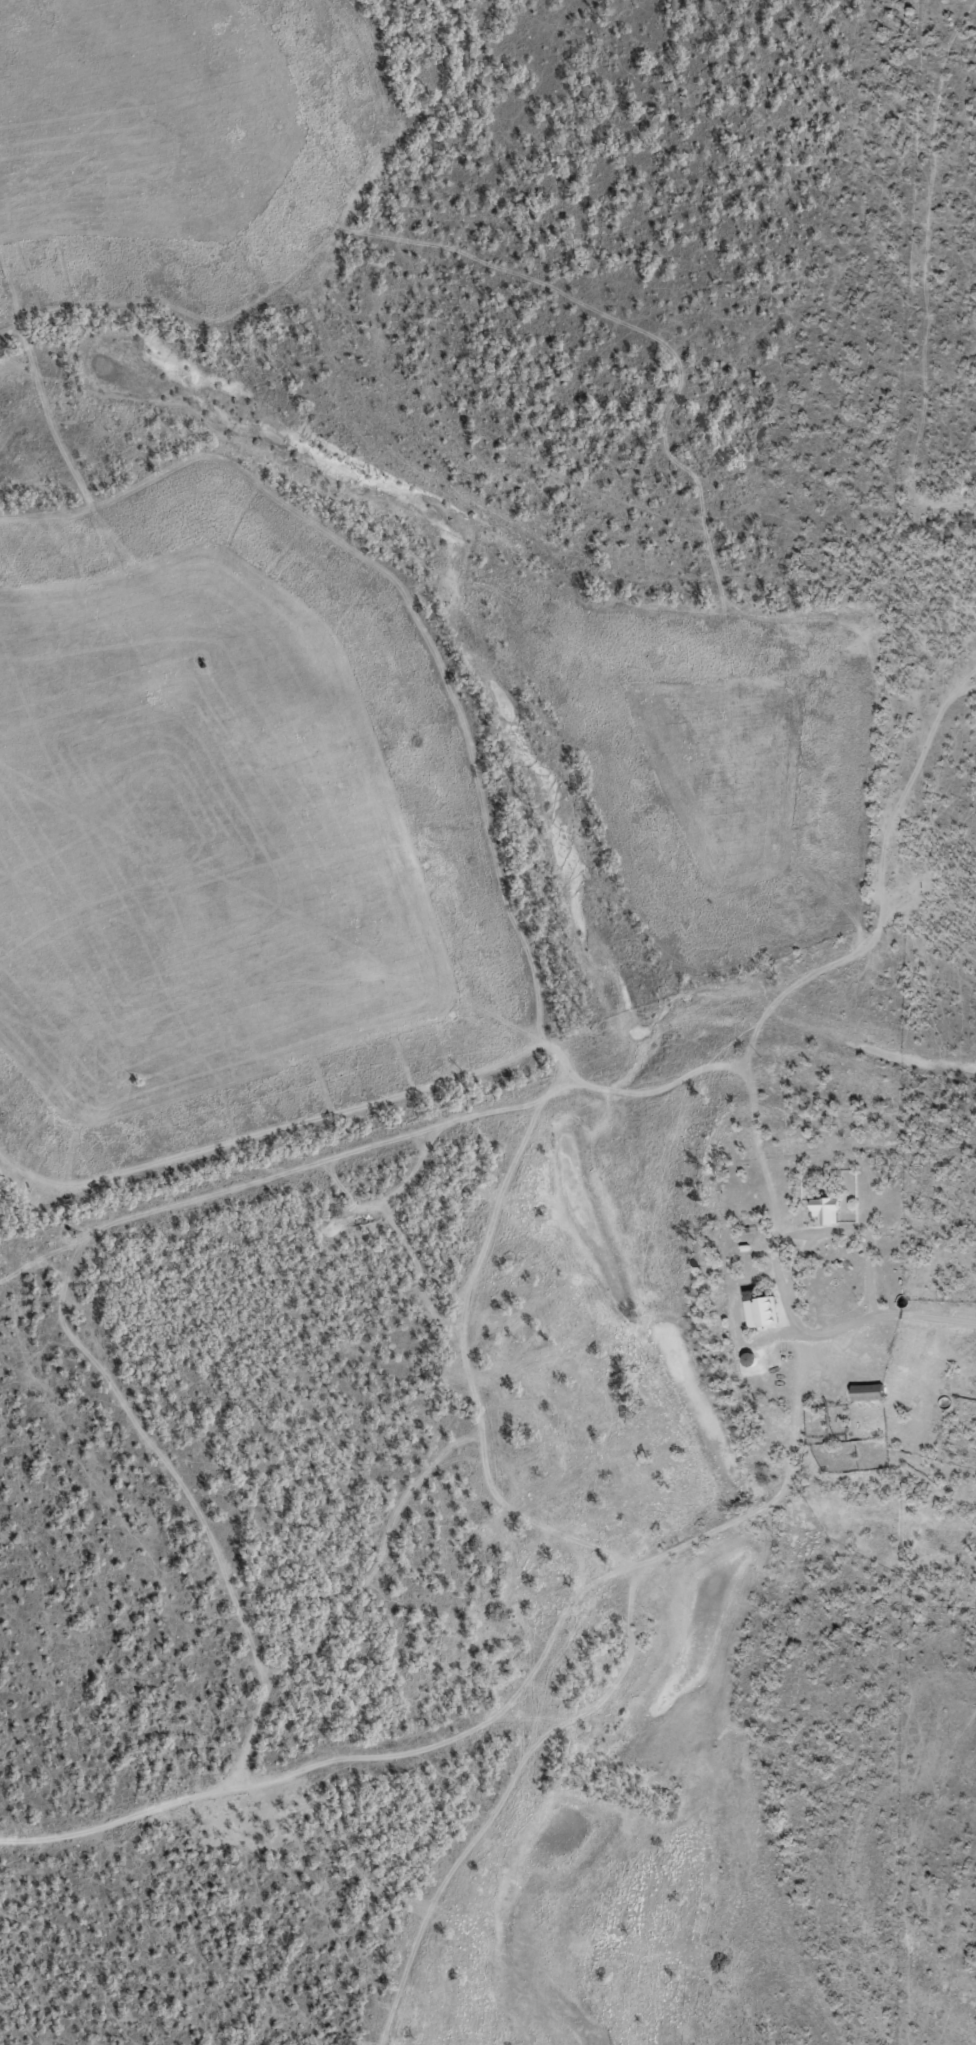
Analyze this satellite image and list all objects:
building: (826, 1211)
road: (904, 1294)
building: (762, 1313)
building: (868, 1395)
road: (509, 1680)

